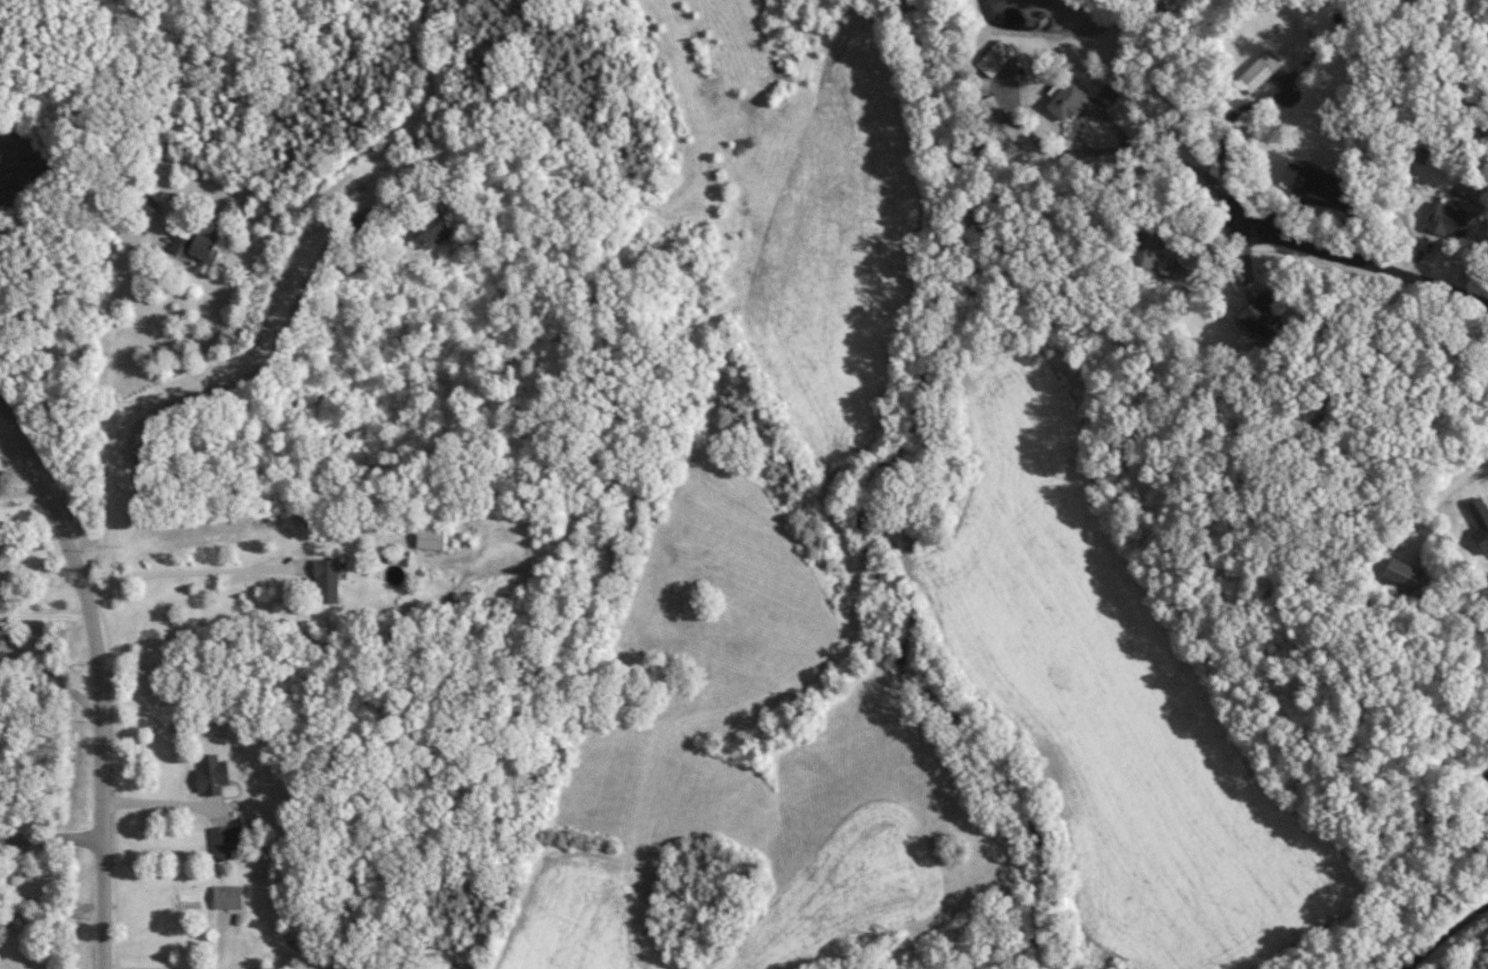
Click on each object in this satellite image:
building: (1260, 72)
building: (1110, 95)
building: (1070, 99)
building: (992, 109)
road: (1124, 148)
building: (1310, 181)
building: (146, 204)
building: (1452, 220)
building: (432, 227)
building: (197, 247)
building: (1148, 251)
road: (1362, 261)
road: (284, 302)
building: (1263, 317)
road: (105, 411)
building: (1481, 521)
building: (430, 539)
road: (201, 569)
building: (327, 582)
road: (46, 614)
road: (99, 687)
building: (212, 777)
road: (160, 804)
road: (52, 839)
building: (222, 844)
building: (229, 898)
road: (1445, 936)

